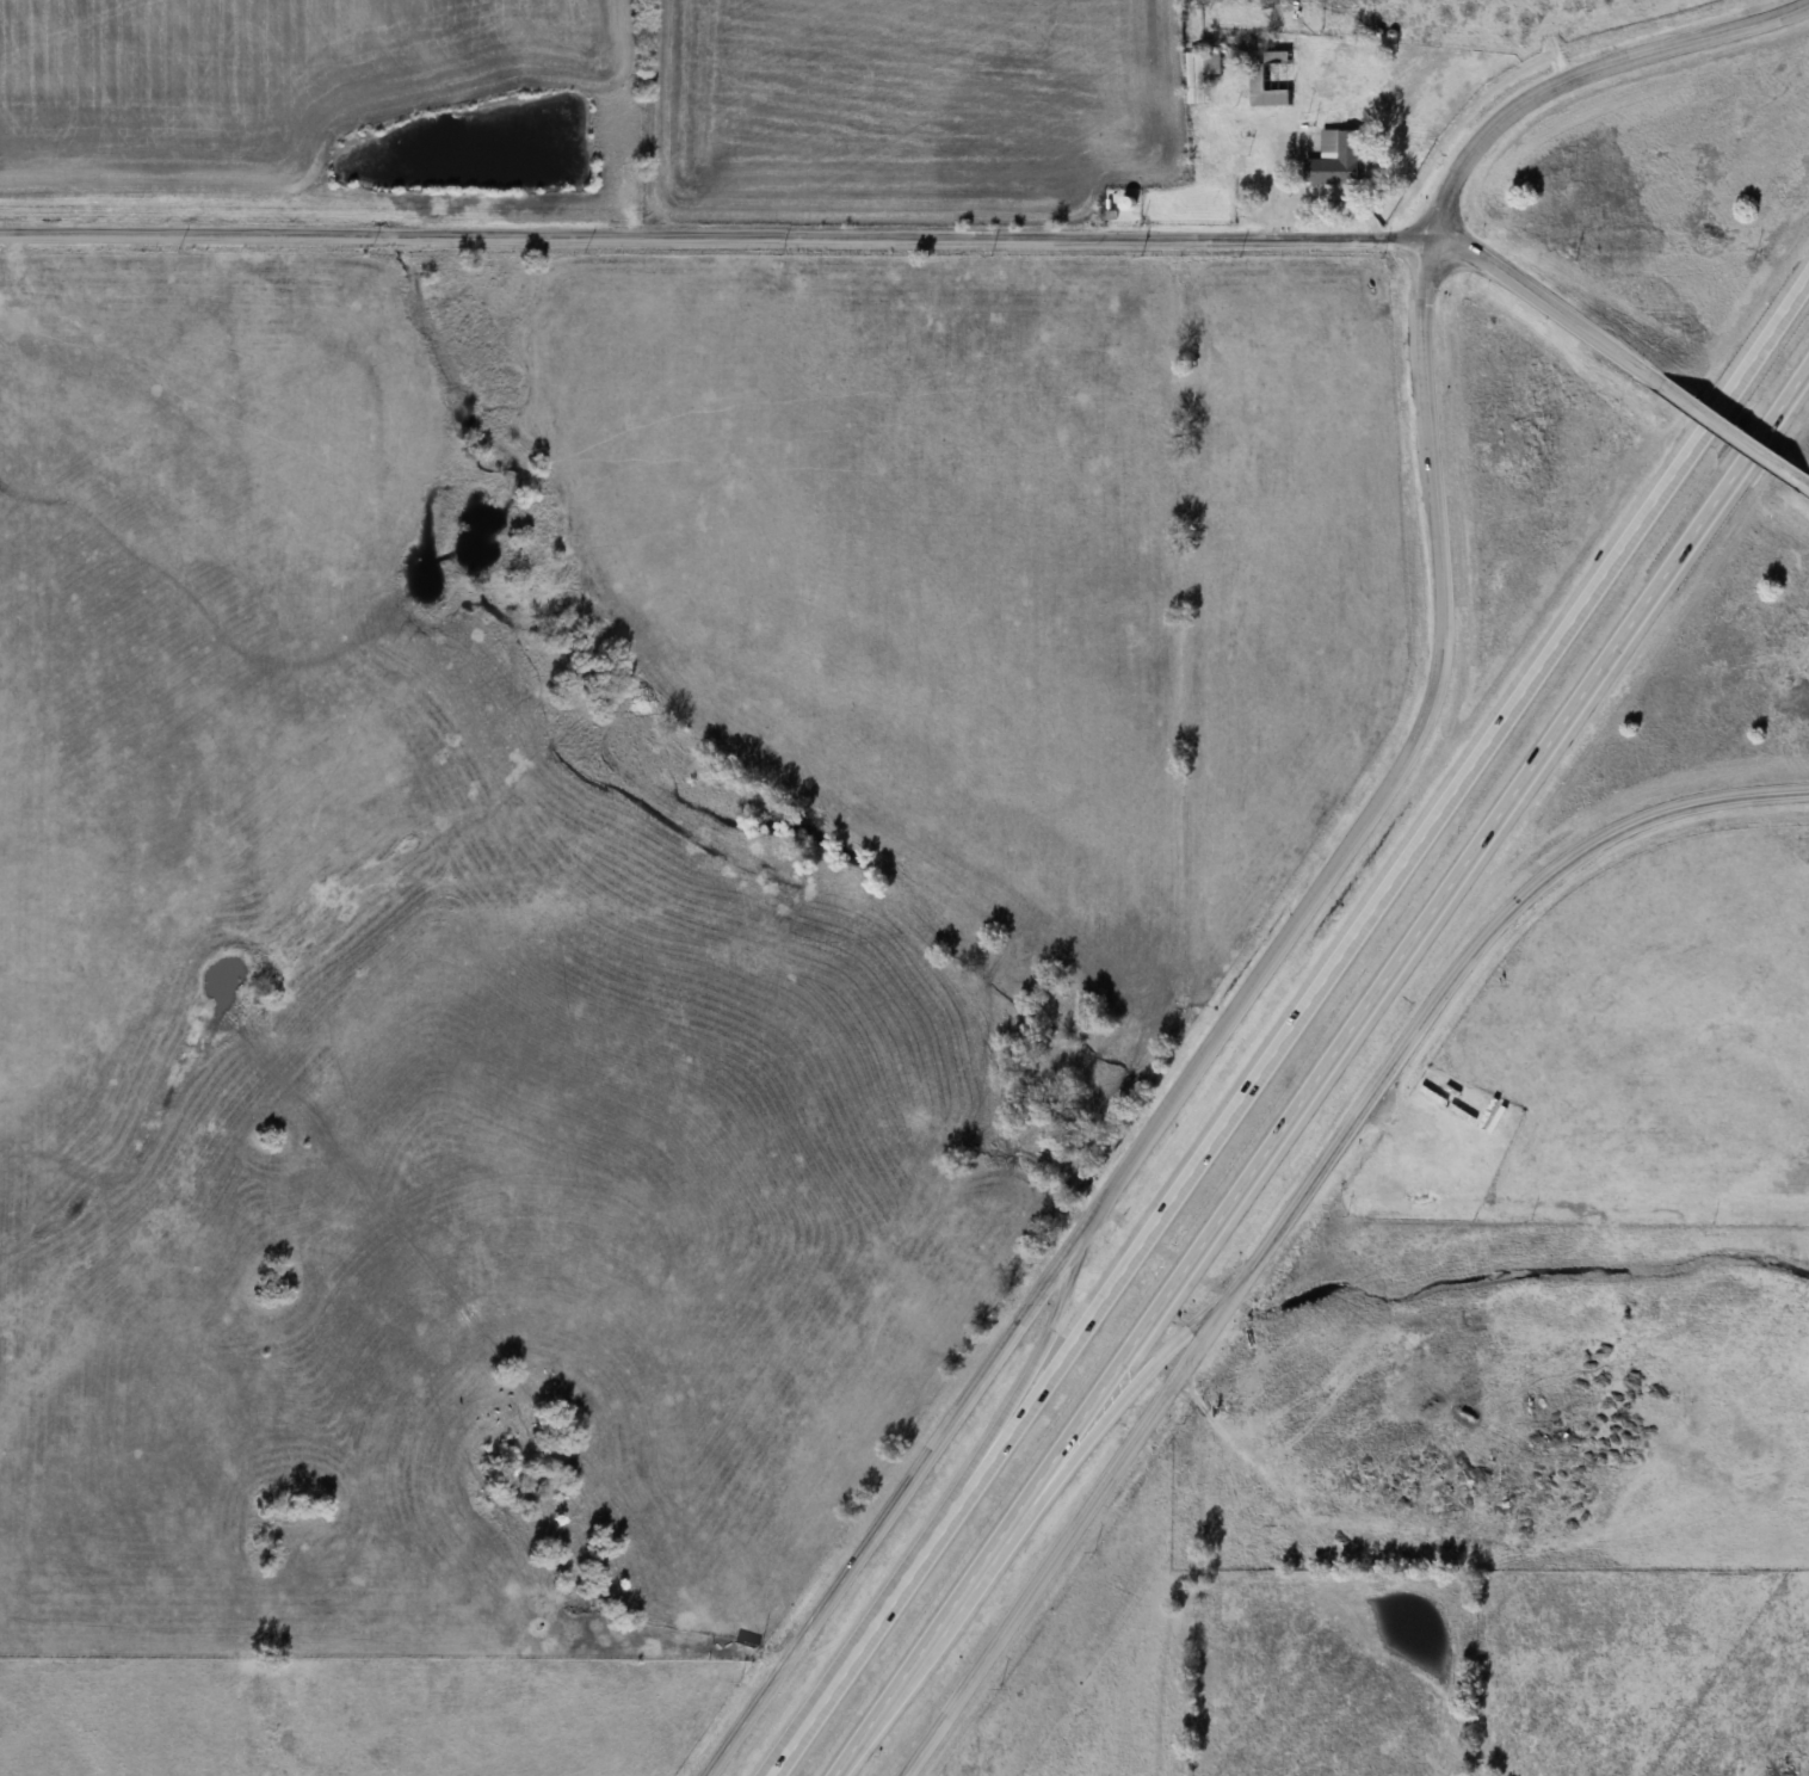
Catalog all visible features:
building: (1199, 74)
building: (1270, 86)
building: (1333, 160)
road: (718, 238)
road: (1550, 306)
road: (1765, 347)
road: (1788, 406)
road: (1710, 426)
road: (1730, 432)
road: (1754, 454)
road: (1805, 486)
road: (1339, 855)
building: (1433, 1094)
road: (1237, 1108)
building: (1463, 1114)
building: (1489, 1114)
road: (1289, 1122)
road: (1433, 1135)
road: (1299, 1203)
road: (1021, 1392)
road: (1061, 1480)

